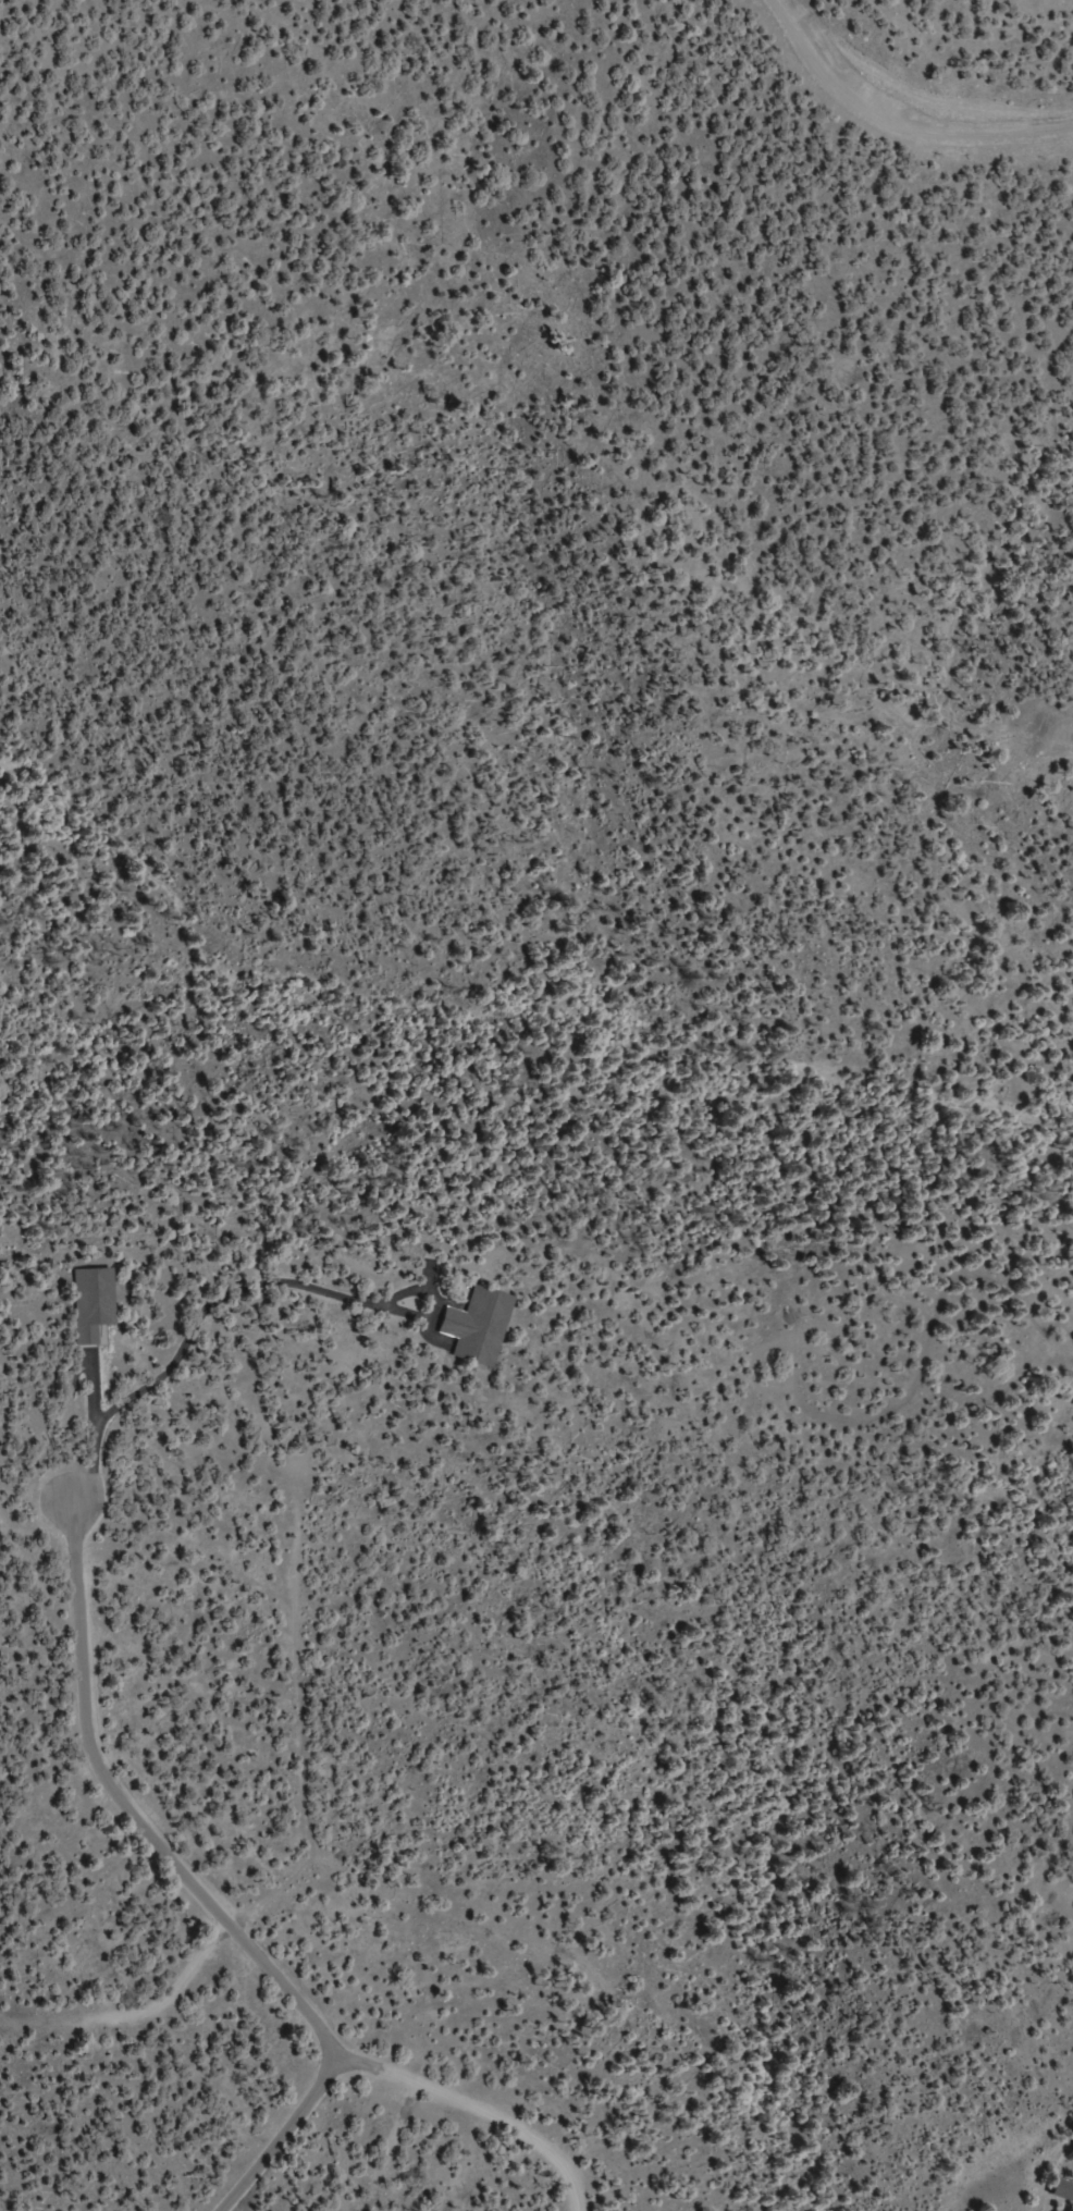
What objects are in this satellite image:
building: (94, 1305)
building: (478, 1326)
building: (1062, 2190)

